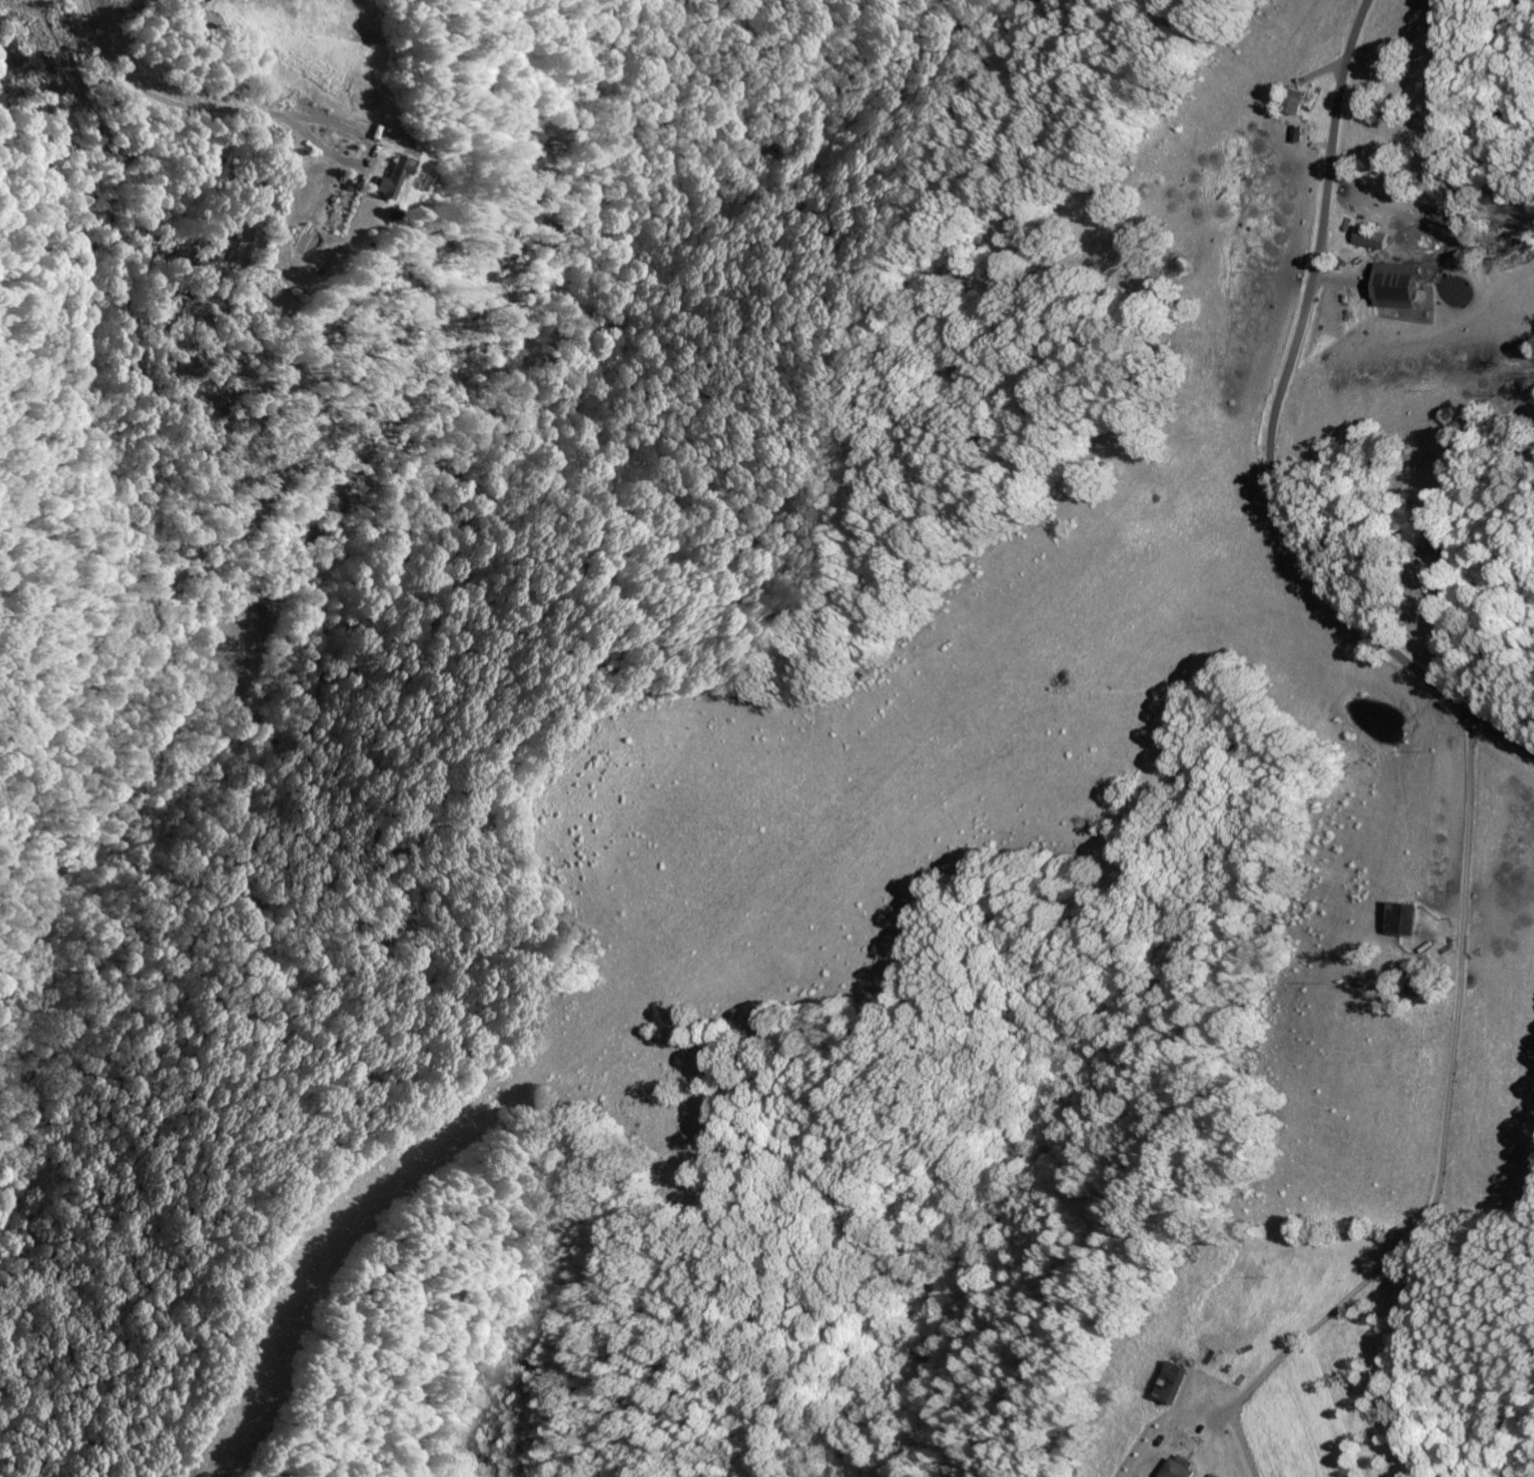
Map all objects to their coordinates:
building: (1294, 102)
building: (382, 179)
building: (1371, 239)
building: (1394, 286)
road: (1274, 427)
road: (1107, 647)
building: (1401, 920)
road: (1444, 1104)
building: (1173, 1383)
building: (1180, 1467)

